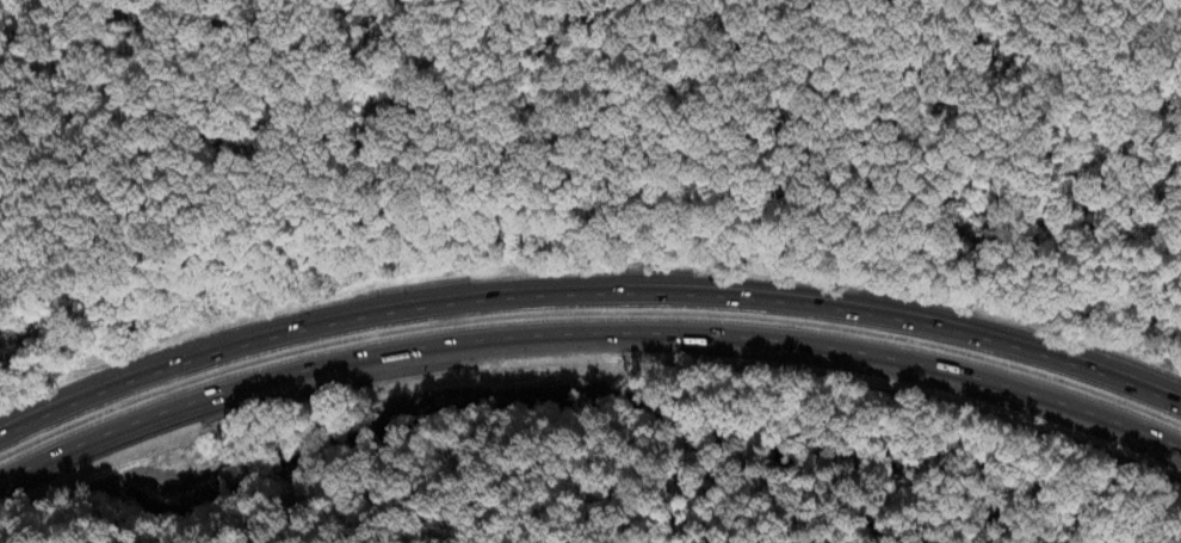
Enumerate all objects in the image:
road: (586, 294)
road: (585, 335)

